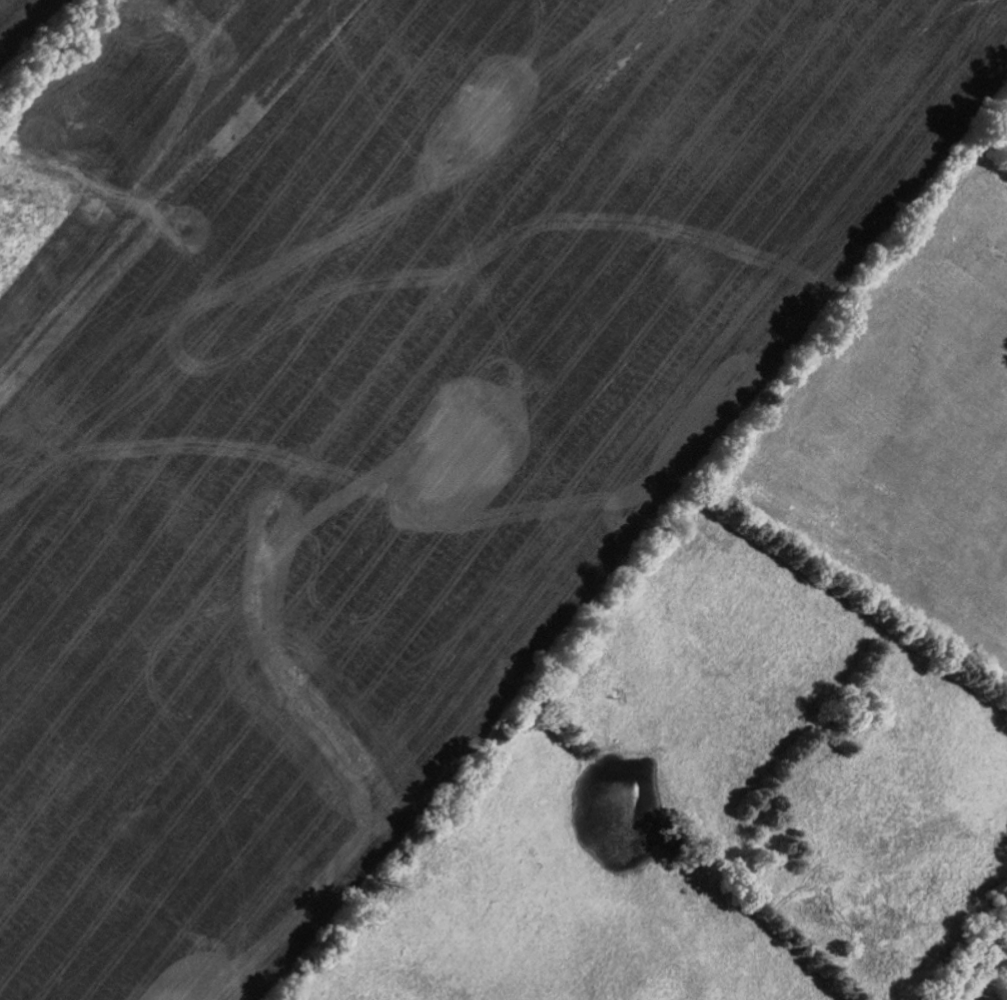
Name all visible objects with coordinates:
road: (975, 956)

